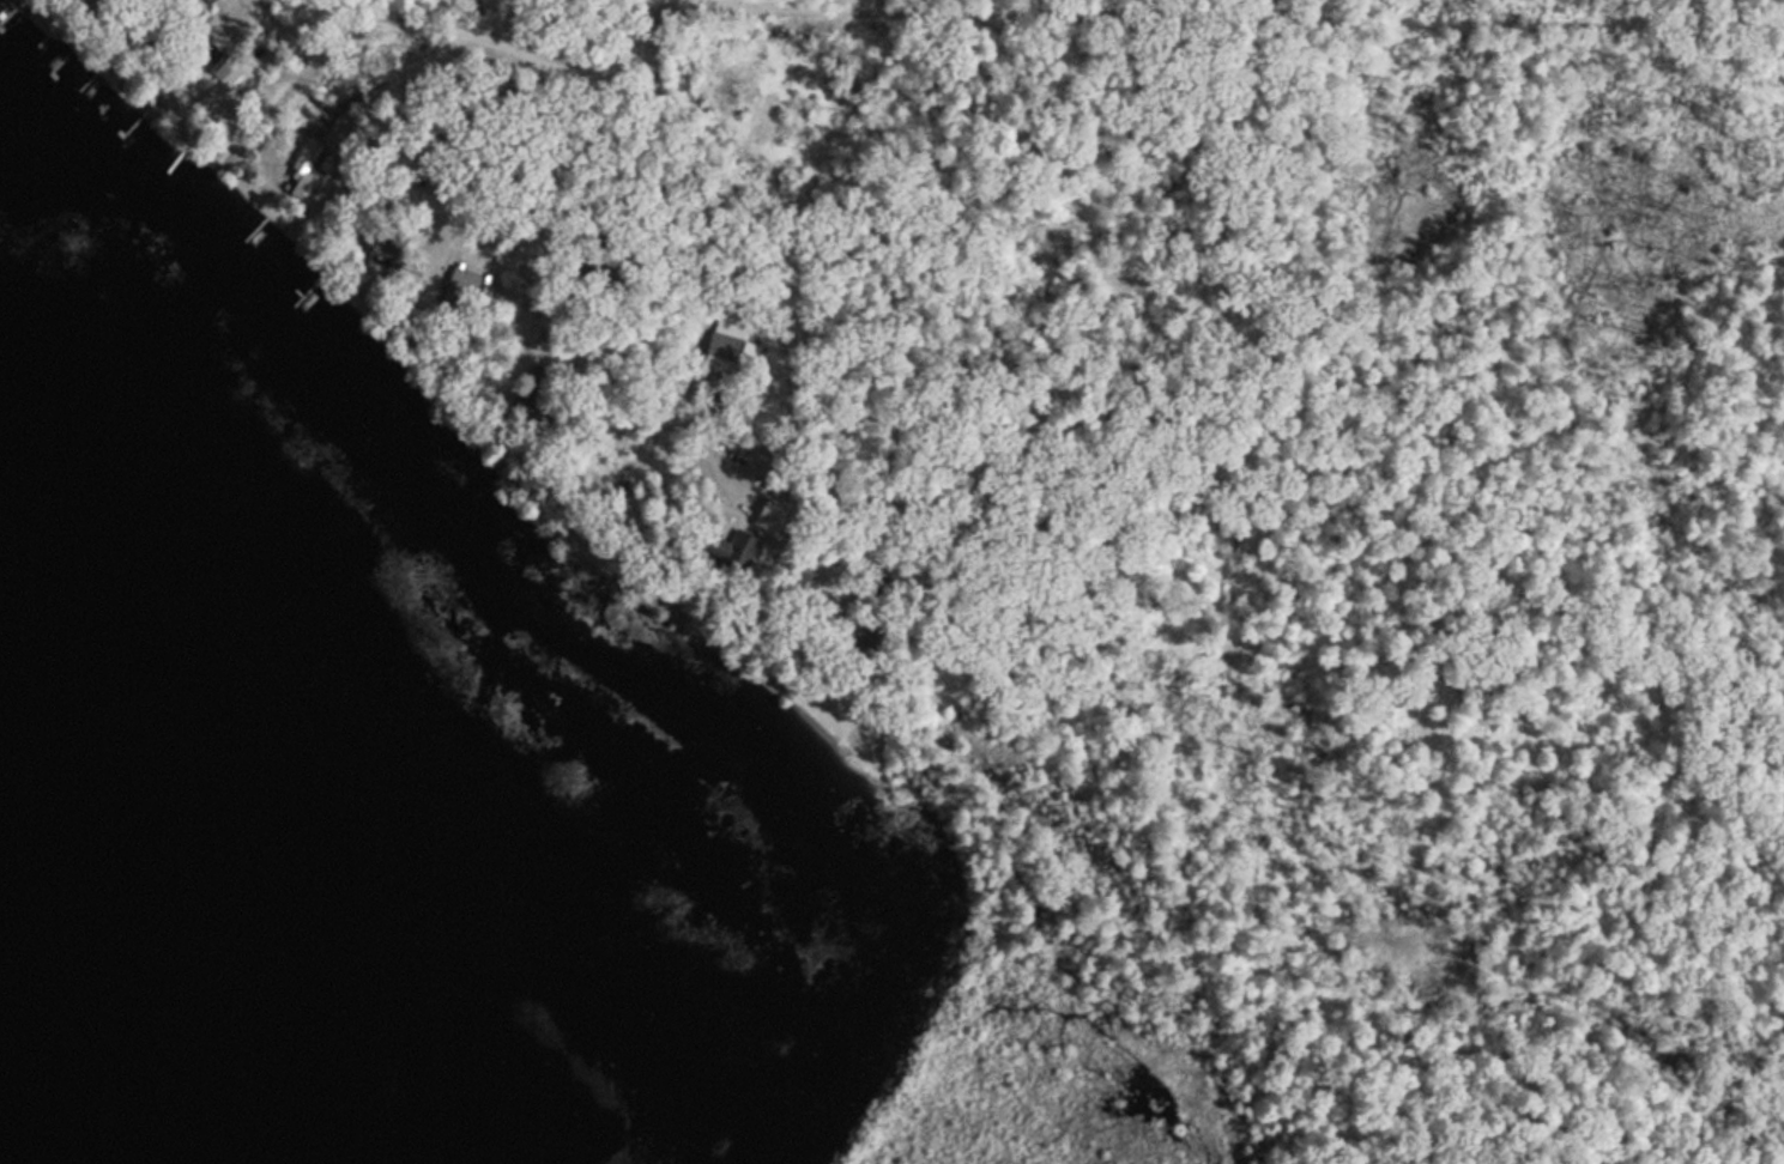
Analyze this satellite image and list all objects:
building: (207, 1)
road: (1224, 5)
road: (479, 38)
building: (220, 85)
road: (697, 248)
building: (453, 269)
building: (725, 344)
building: (527, 406)
building: (805, 582)

